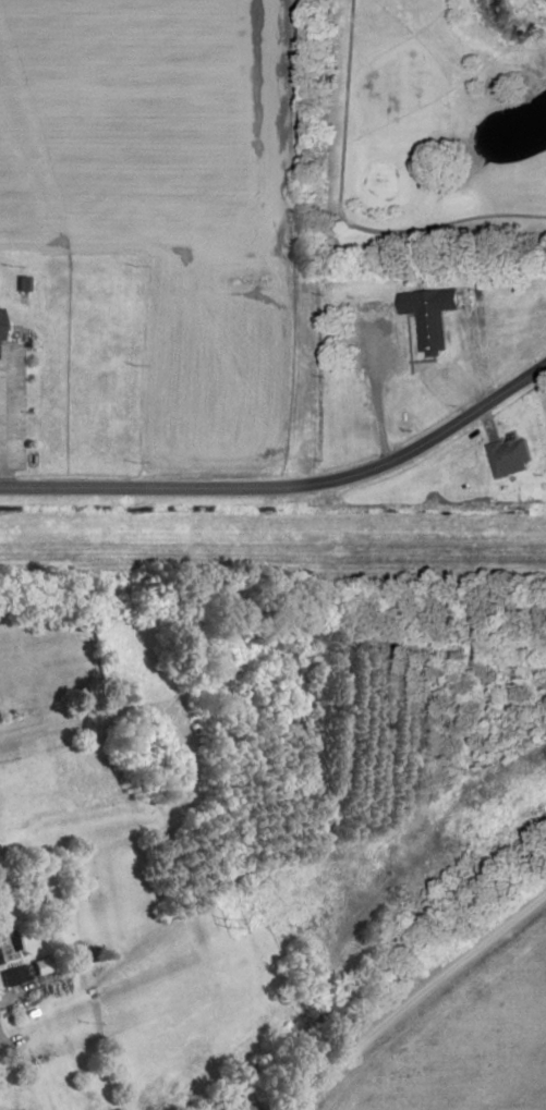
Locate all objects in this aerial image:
park: (429, 131)
crop: (179, 205)
road: (332, 218)
building: (21, 283)
building: (372, 284)
building: (478, 291)
road: (391, 296)
building: (429, 316)
road: (409, 339)
parking lot: (376, 349)
road: (486, 355)
road: (424, 359)
road: (377, 395)
parking lot: (12, 407)
road: (2, 418)
road: (288, 485)
building: (8, 706)
road: (0, 744)
building: (33, 888)
road: (416, 1005)
road: (267, 1028)
road: (7, 1041)
building: (243, 1105)
building: (117, 1109)

